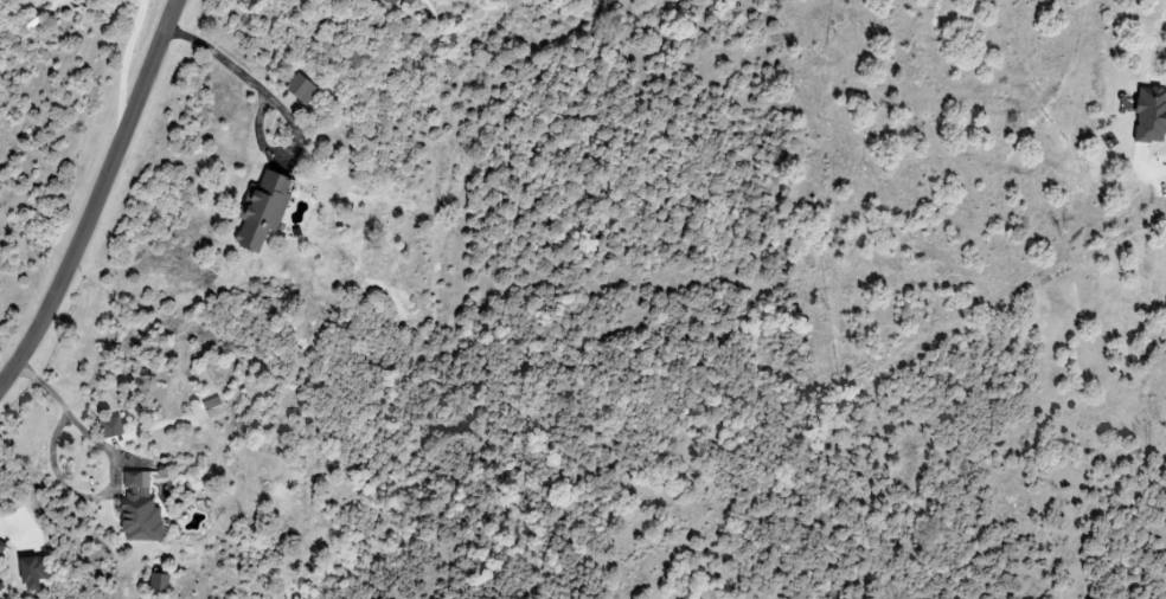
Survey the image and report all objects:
building: (408, 2)
road: (122, 60)
road: (232, 60)
building: (301, 89)
building: (1152, 117)
road: (92, 195)
building: (264, 211)
building: (1164, 246)
building: (214, 408)
building: (114, 429)
road: (115, 468)
building: (141, 510)
building: (33, 573)
building: (159, 584)

